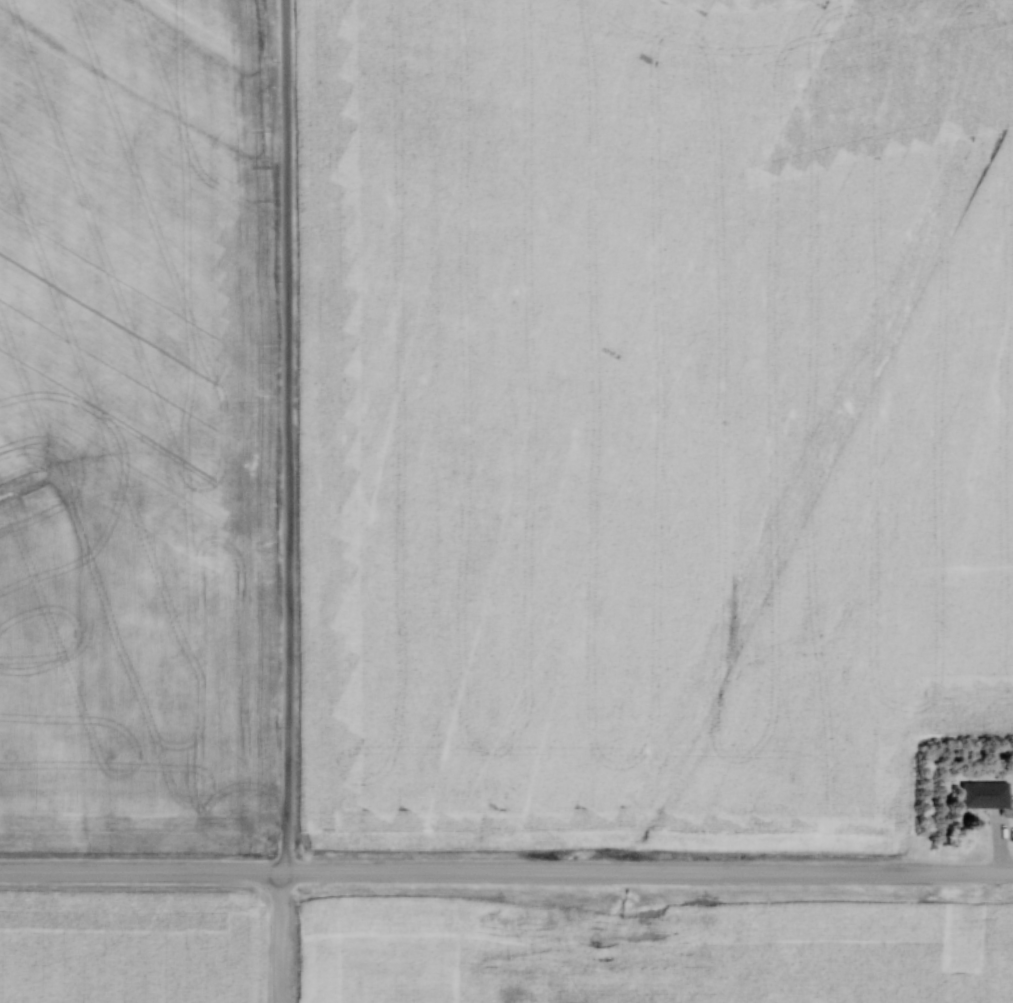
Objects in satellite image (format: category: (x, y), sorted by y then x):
road: (287, 438)
building: (986, 794)
road: (506, 876)
road: (284, 939)

